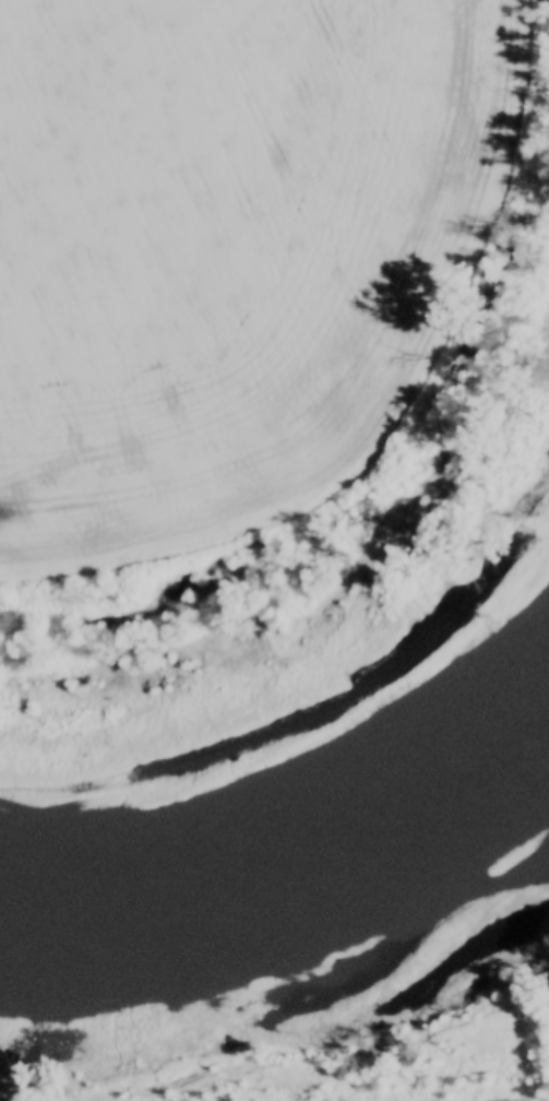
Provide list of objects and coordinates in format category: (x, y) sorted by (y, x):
river: (303, 831)
road: (444, 1043)

